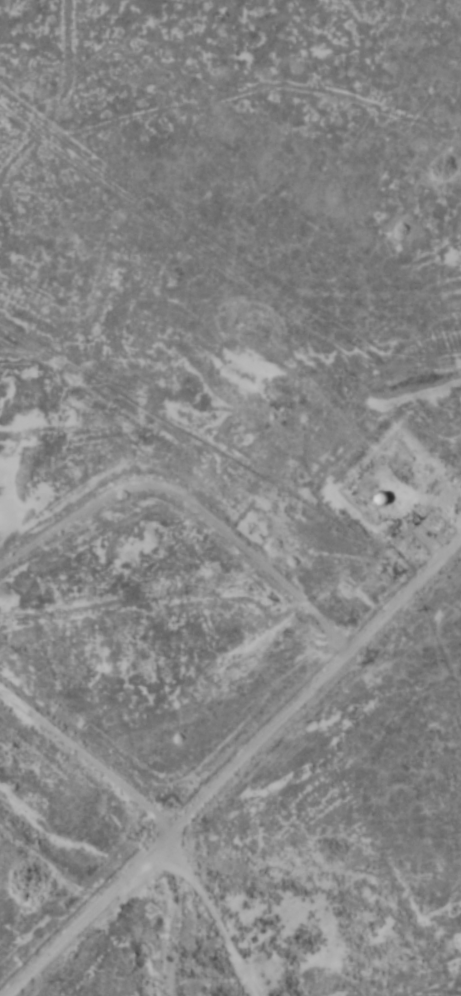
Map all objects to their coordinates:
road: (400, 578)
road: (321, 658)
road: (83, 745)

